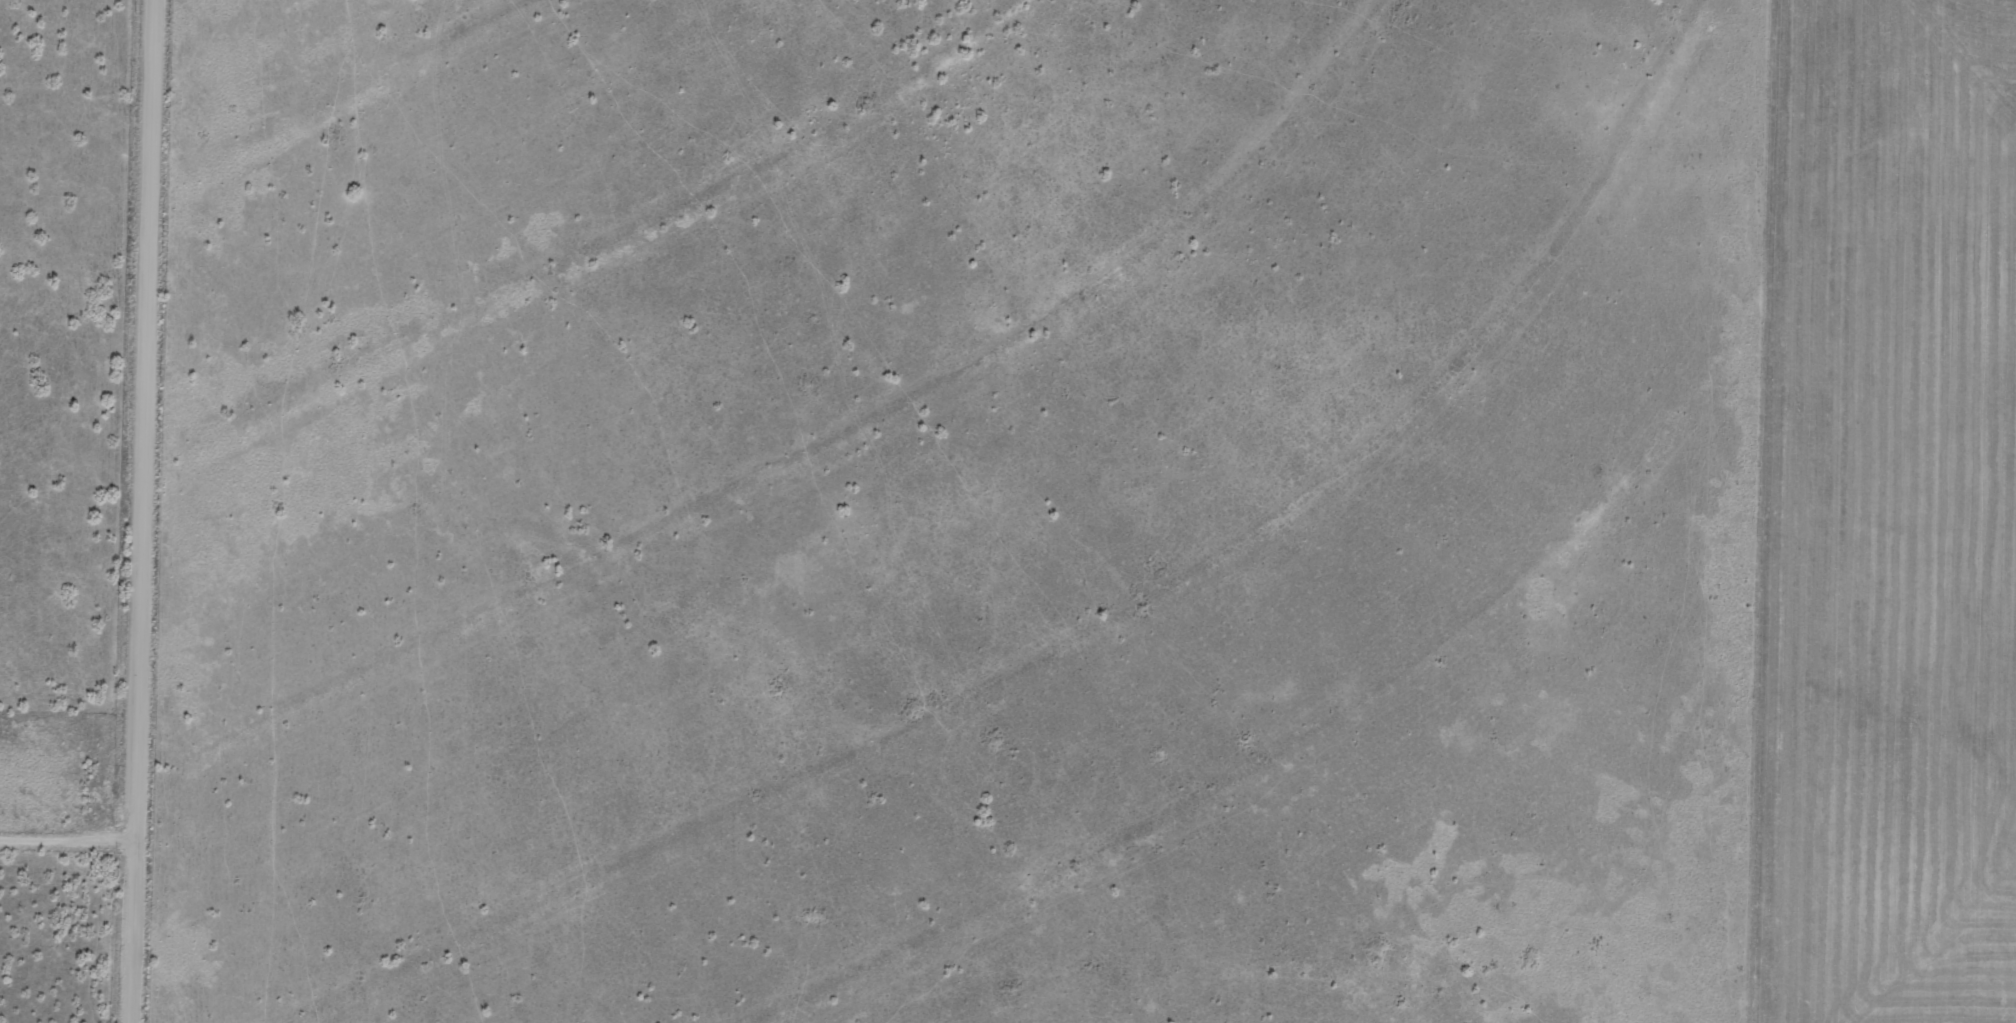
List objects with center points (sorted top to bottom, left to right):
road: (146, 511)
road: (68, 818)

